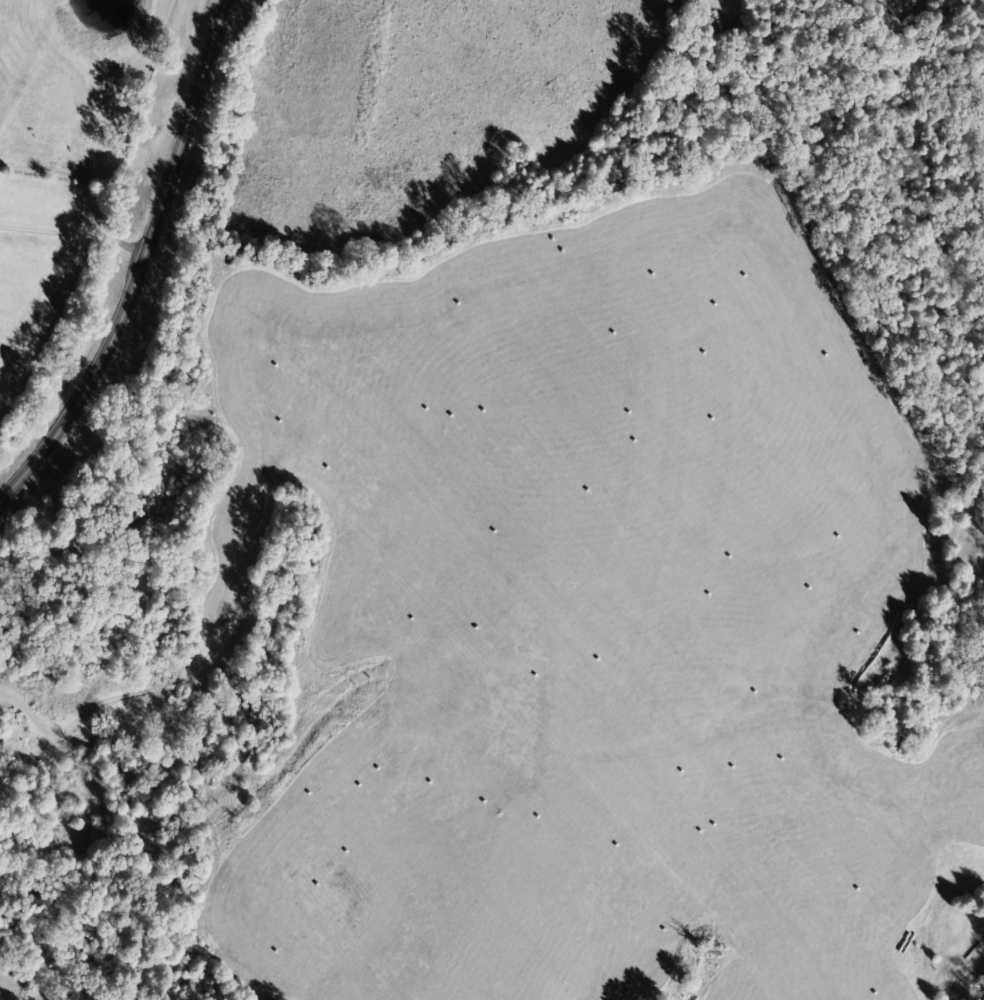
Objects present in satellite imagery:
road: (139, 263)
road: (473, 690)
park: (11, 983)

